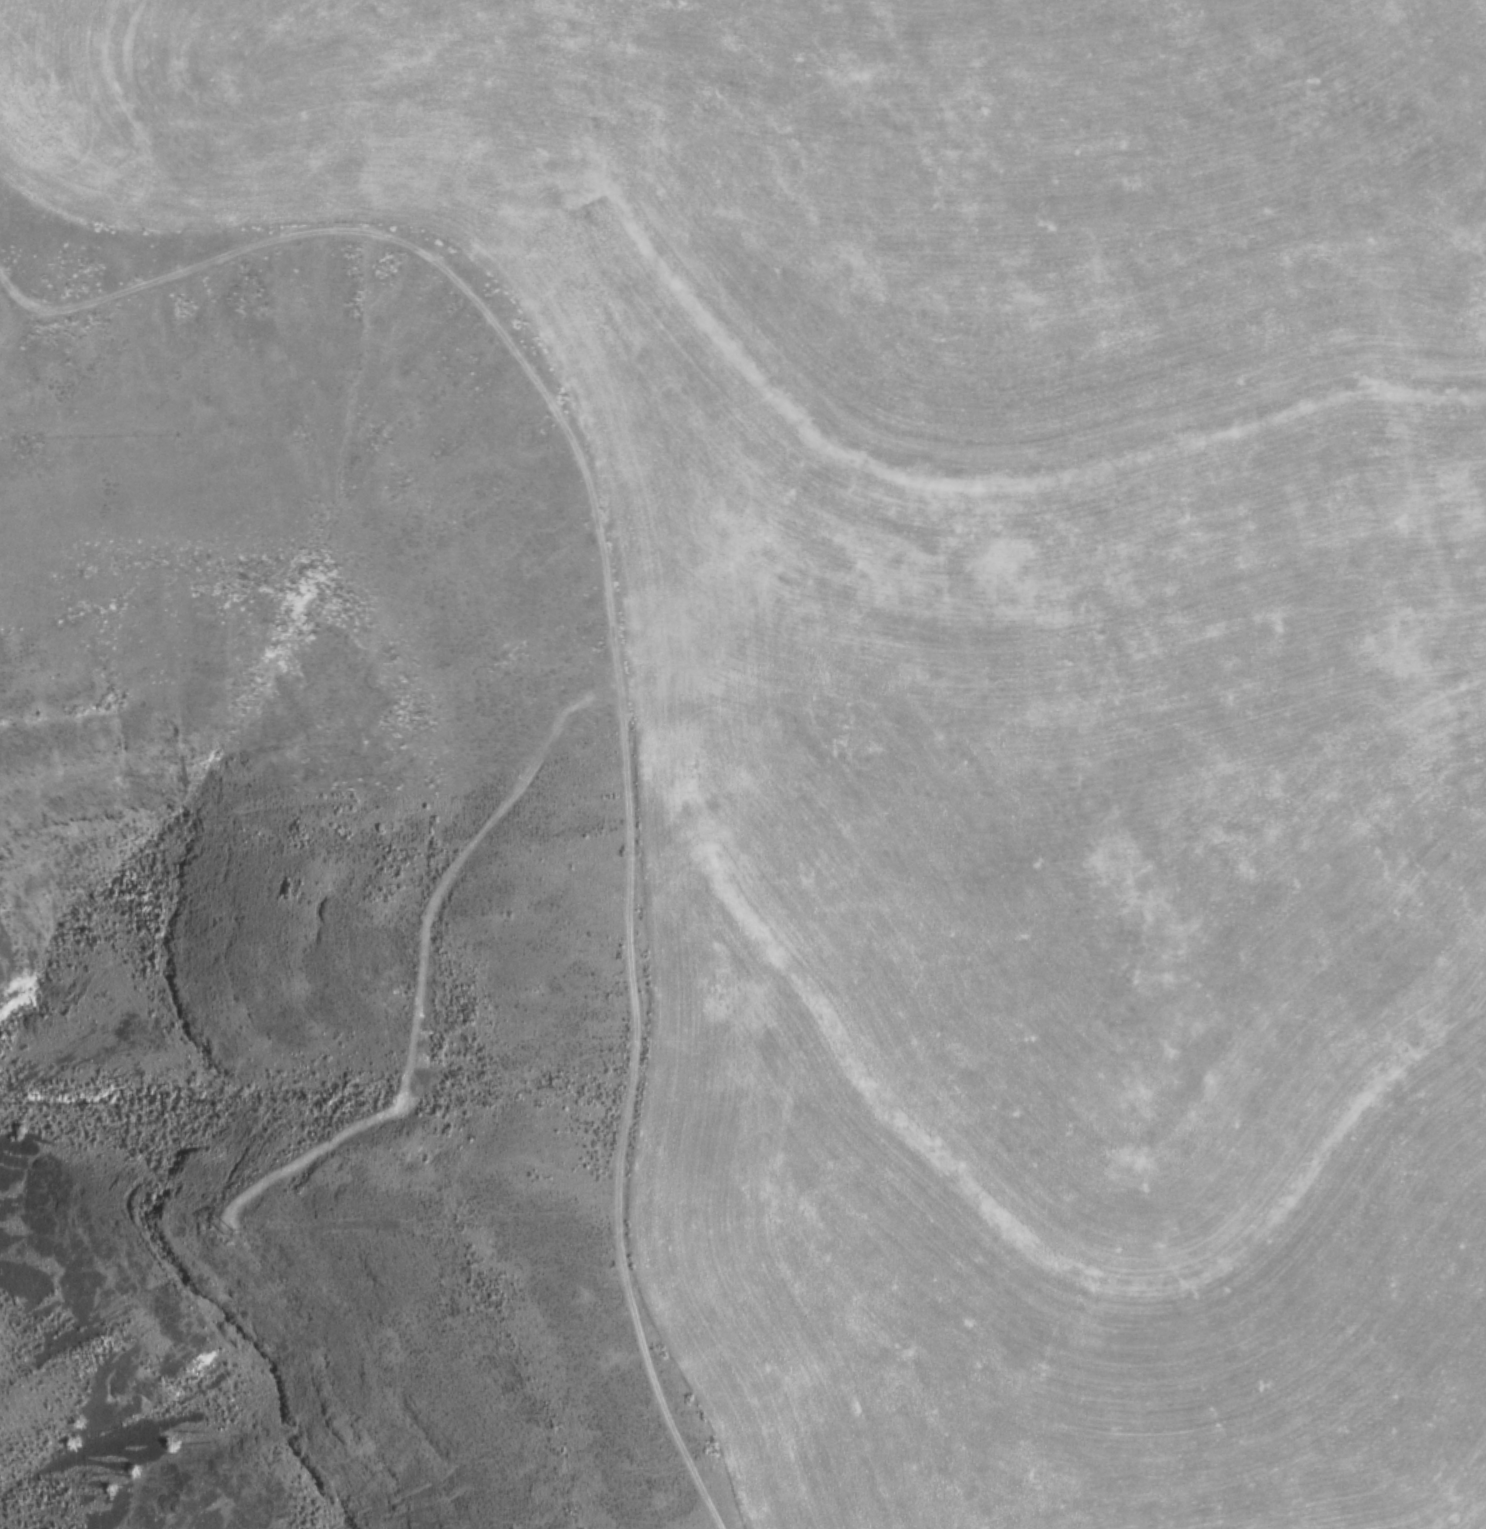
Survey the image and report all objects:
power tower: (231, 1230)

